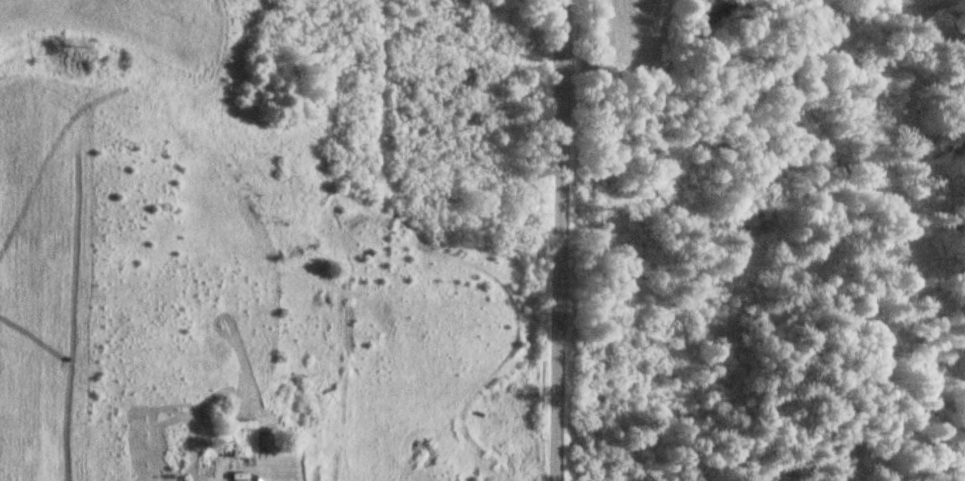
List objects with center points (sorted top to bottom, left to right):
road: (572, 240)
building: (231, 451)

